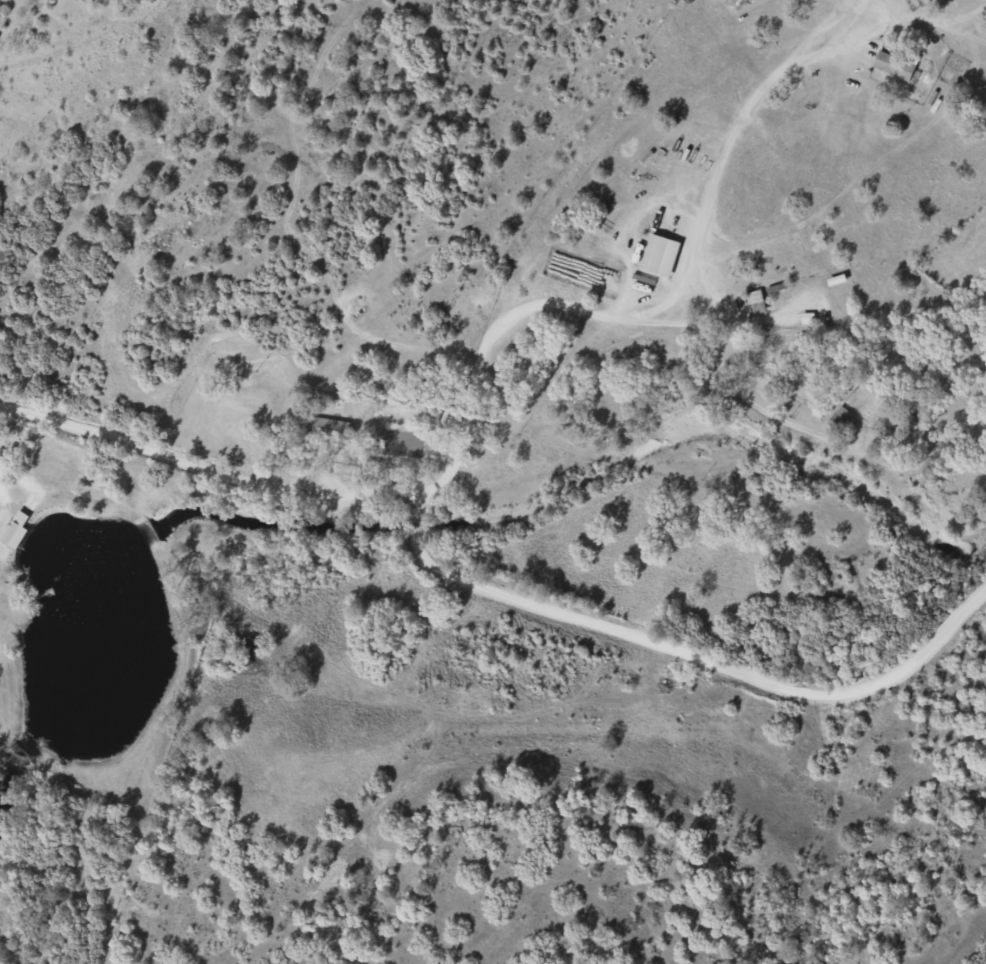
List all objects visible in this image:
building: (894, 65)
building: (756, 302)
building: (818, 369)
building: (914, 407)
building: (840, 418)
building: (327, 429)
road: (215, 492)
road: (442, 543)
road: (703, 688)

